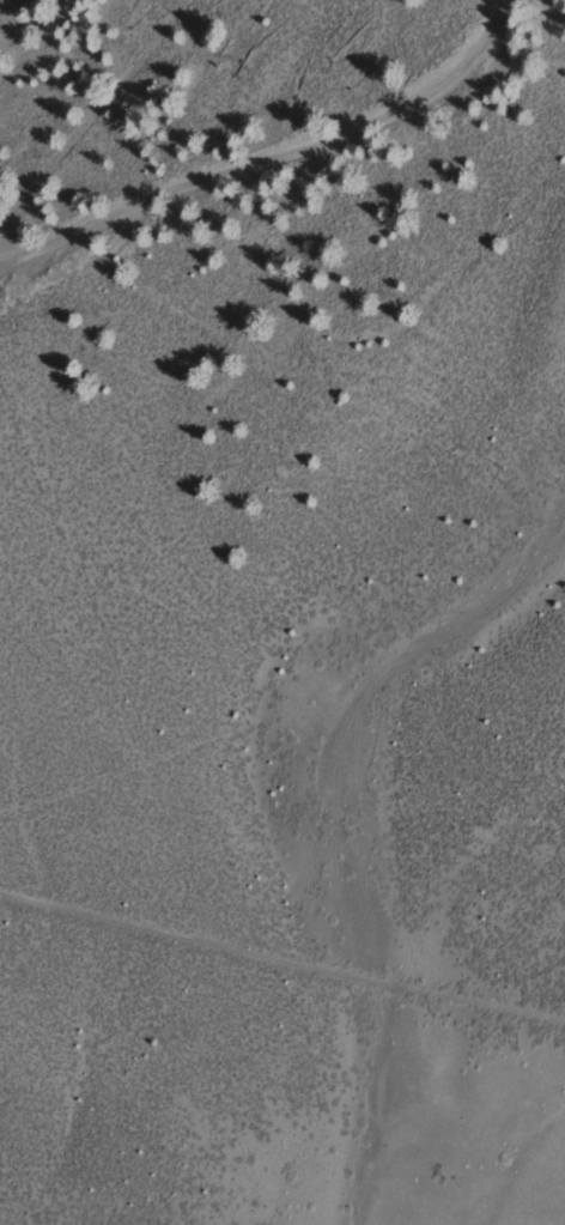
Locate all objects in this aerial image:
road: (269, 150)
road: (282, 957)

